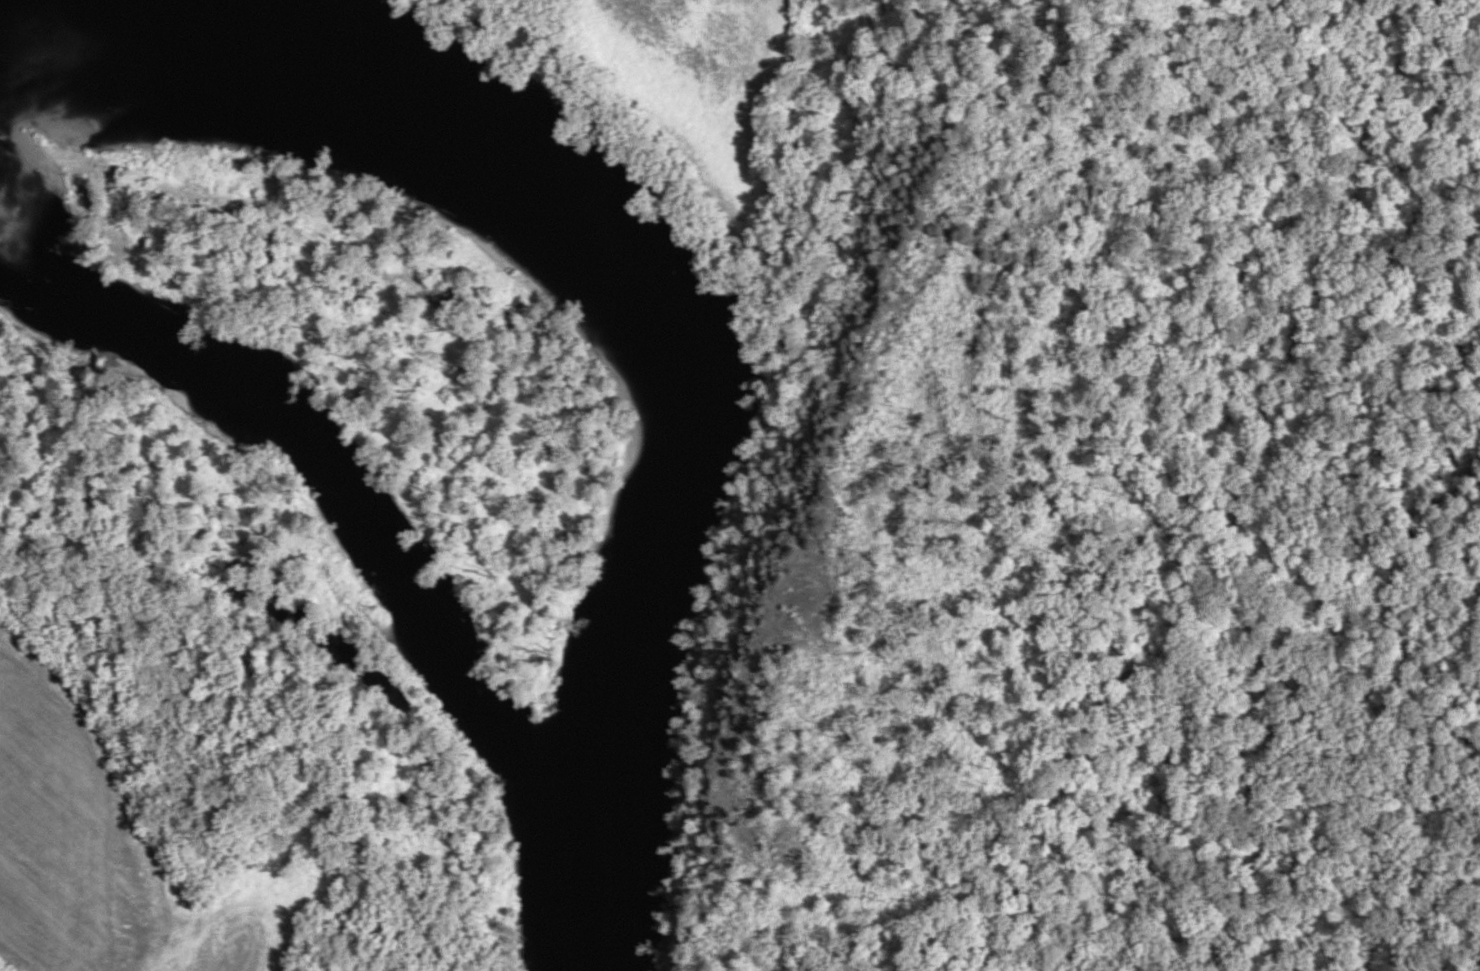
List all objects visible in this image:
river: (654, 337)

